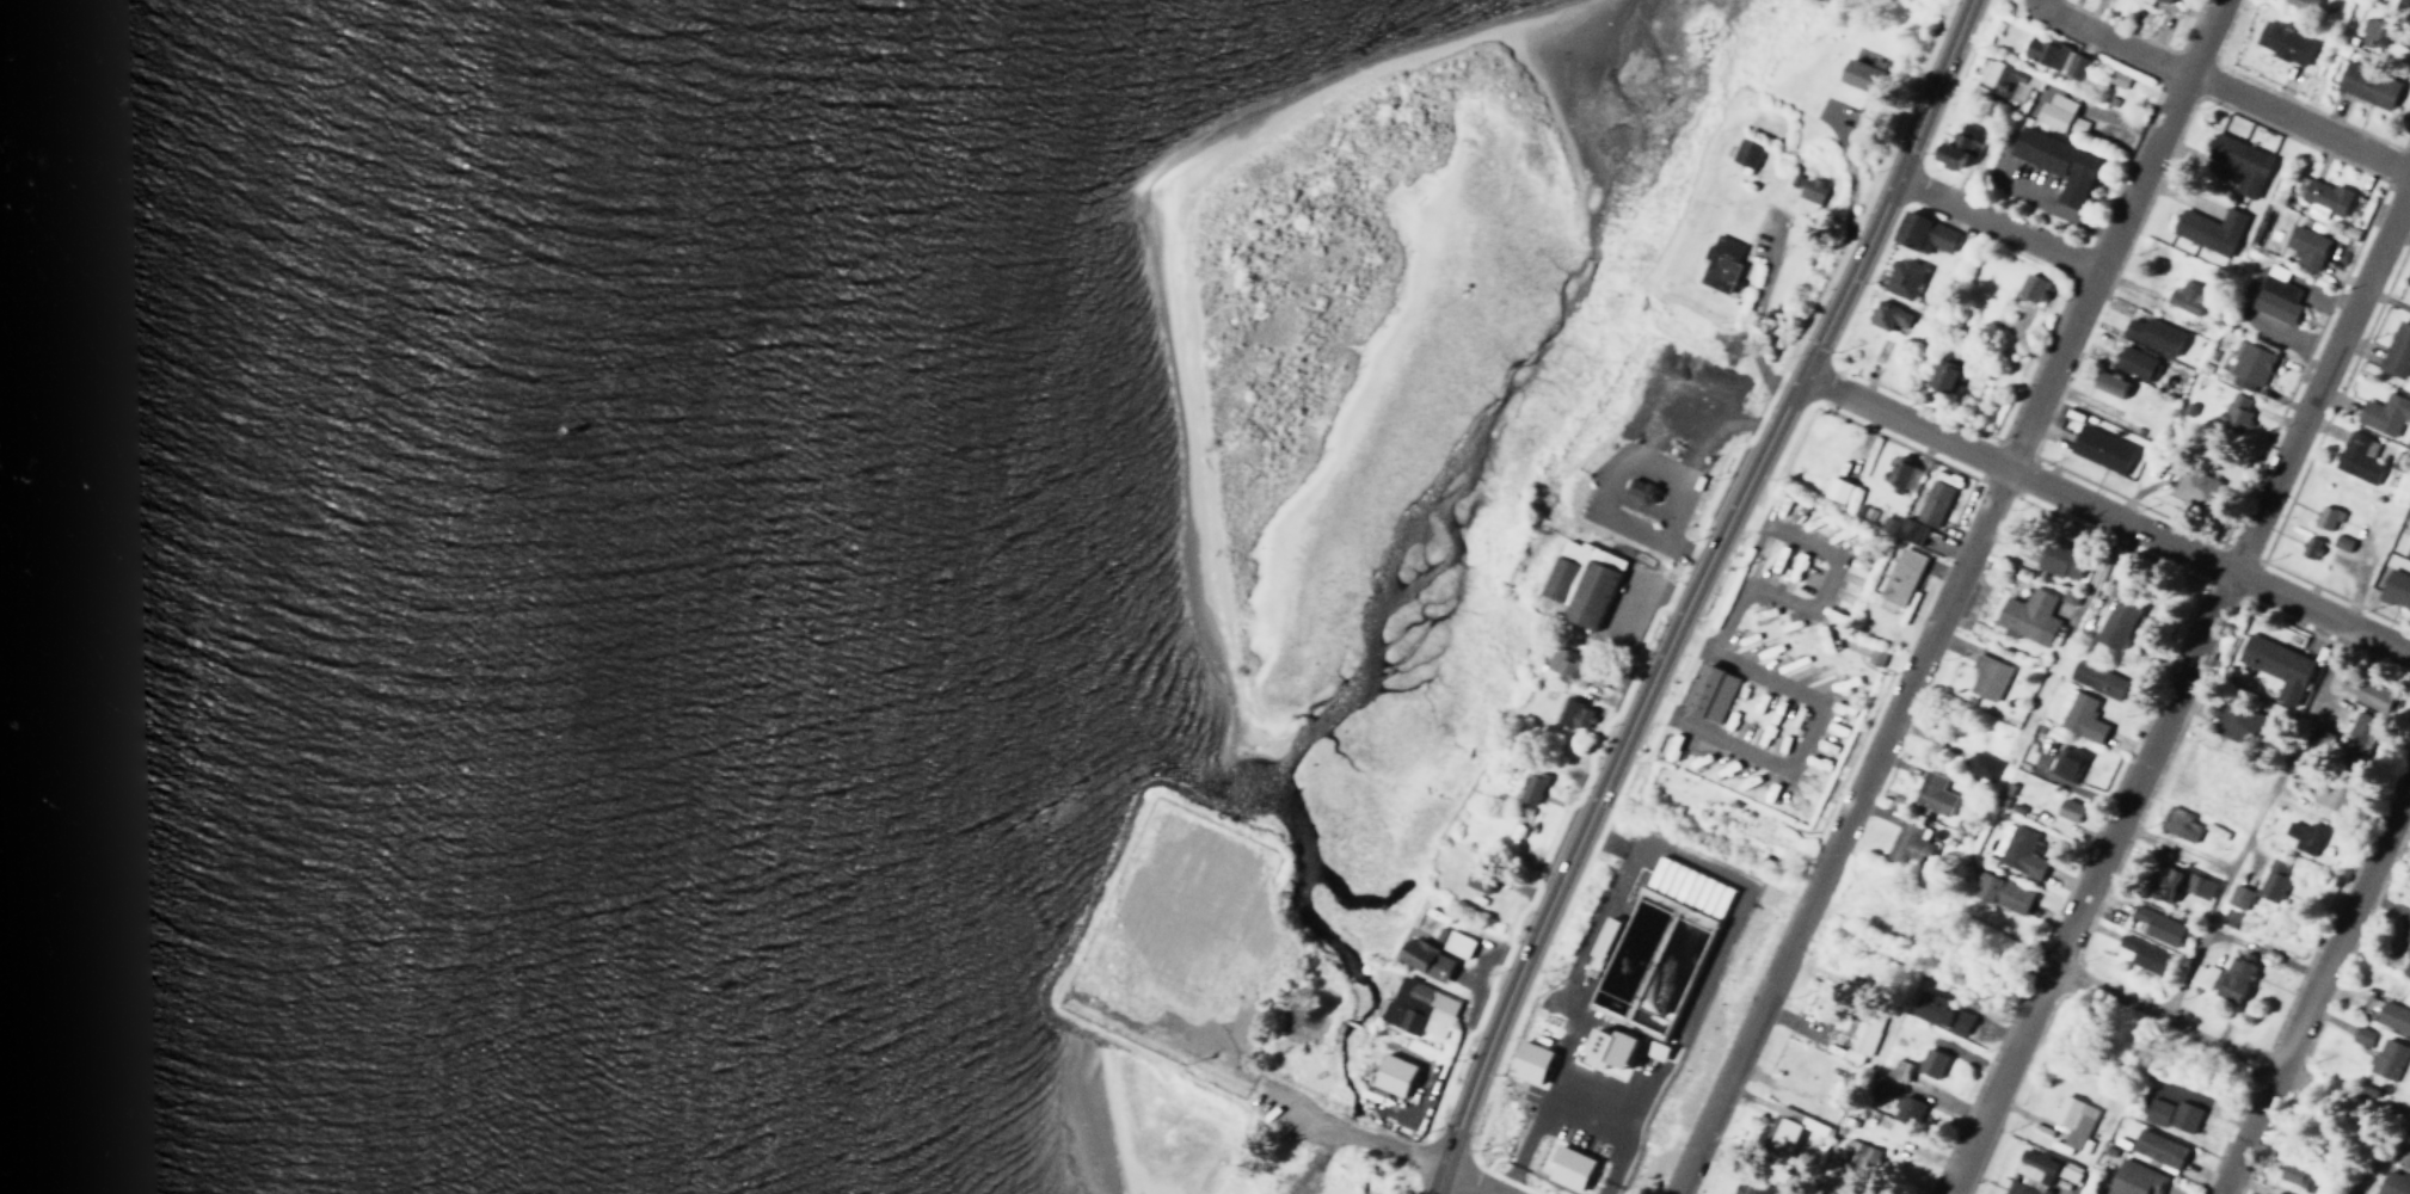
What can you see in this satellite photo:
river: (0, 0)
building: (2147, 1)
building: (2165, 1)
building: (2300, 5)
building: (2373, 29)
building: (2399, 38)
road: (2116, 41)
building: (2282, 41)
building: (2053, 57)
building: (1857, 74)
building: (2004, 80)
building: (2366, 85)
road: (1929, 86)
building: (2058, 115)
road: (2300, 123)
building: (1960, 147)
building: (1742, 154)
building: (2057, 162)
building: (2239, 162)
building: (1807, 192)
building: (2320, 197)
road: (1993, 222)
building: (1922, 233)
building: (2304, 246)
building: (1717, 263)
road: (1844, 273)
building: (1900, 278)
building: (2030, 287)
building: (2185, 296)
building: (2275, 296)
building: (1886, 316)
building: (2152, 334)
building: (2396, 350)
building: (2133, 363)
building: (2249, 367)
building: (1943, 373)
building: (2108, 383)
building: (2232, 413)
building: (2383, 413)
building: (2098, 449)
building: (2356, 456)
building: (1898, 475)
building: (2193, 487)
building: (1836, 490)
building: (1639, 491)
road: (1734, 503)
building: (1930, 503)
road: (2103, 516)
building: (2324, 517)
building: (1908, 530)
building: (2338, 542)
building: (2408, 546)
building: (2308, 548)
building: (2058, 560)
building: (1900, 576)
building: (1579, 581)
building: (2394, 584)
road: (1945, 596)
building: (2027, 617)
building: (2115, 624)
building: (1557, 664)
building: (2276, 667)
road: (1655, 669)
building: (1985, 677)
building: (2095, 678)
road: (2177, 687)
building: (2365, 693)
building: (1708, 694)
building: (1563, 710)
building: (2078, 715)
building: (1580, 716)
building: (2361, 732)
road: (1800, 737)
building: (2065, 763)
building: (1979, 765)
building: (1530, 788)
building: (1930, 794)
building: (2328, 794)
building: (2066, 810)
building: (2176, 823)
building: (2303, 835)
building: (1904, 842)
building: (2015, 848)
building: (2271, 879)
building: (1475, 880)
building: (2163, 882)
building: (2196, 885)
building: (1685, 886)
building: (1999, 892)
building: (2237, 895)
building: (2230, 918)
building: (2154, 924)
road: (1533, 934)
building: (1451, 941)
building: (2144, 955)
building: (1422, 959)
building: (2405, 965)
building: (2200, 974)
building: (2232, 978)
road: (2312, 981)
building: (1412, 1003)
building: (1936, 1010)
road: (2160, 1015)
building: (2392, 1017)
building: (1435, 1021)
building: (1858, 1035)
building: (2360, 1035)
building: (1609, 1045)
building: (2386, 1058)
building: (1527, 1060)
building: (1929, 1061)
building: (1894, 1069)
building: (1391, 1073)
building: (1905, 1108)
building: (2154, 1112)
road: (1317, 1116)
building: (2182, 1116)
building: (2070, 1119)
building: (1790, 1131)
road: (2404, 1131)
building: (2156, 1147)
building: (2031, 1164)
building: (1567, 1165)
building: (2293, 1174)
building: (2133, 1178)
road: (1443, 1183)
road: (1468, 1183)
building: (2392, 1183)
building: (1751, 1187)
building: (2017, 1188)
building: (2276, 1192)

